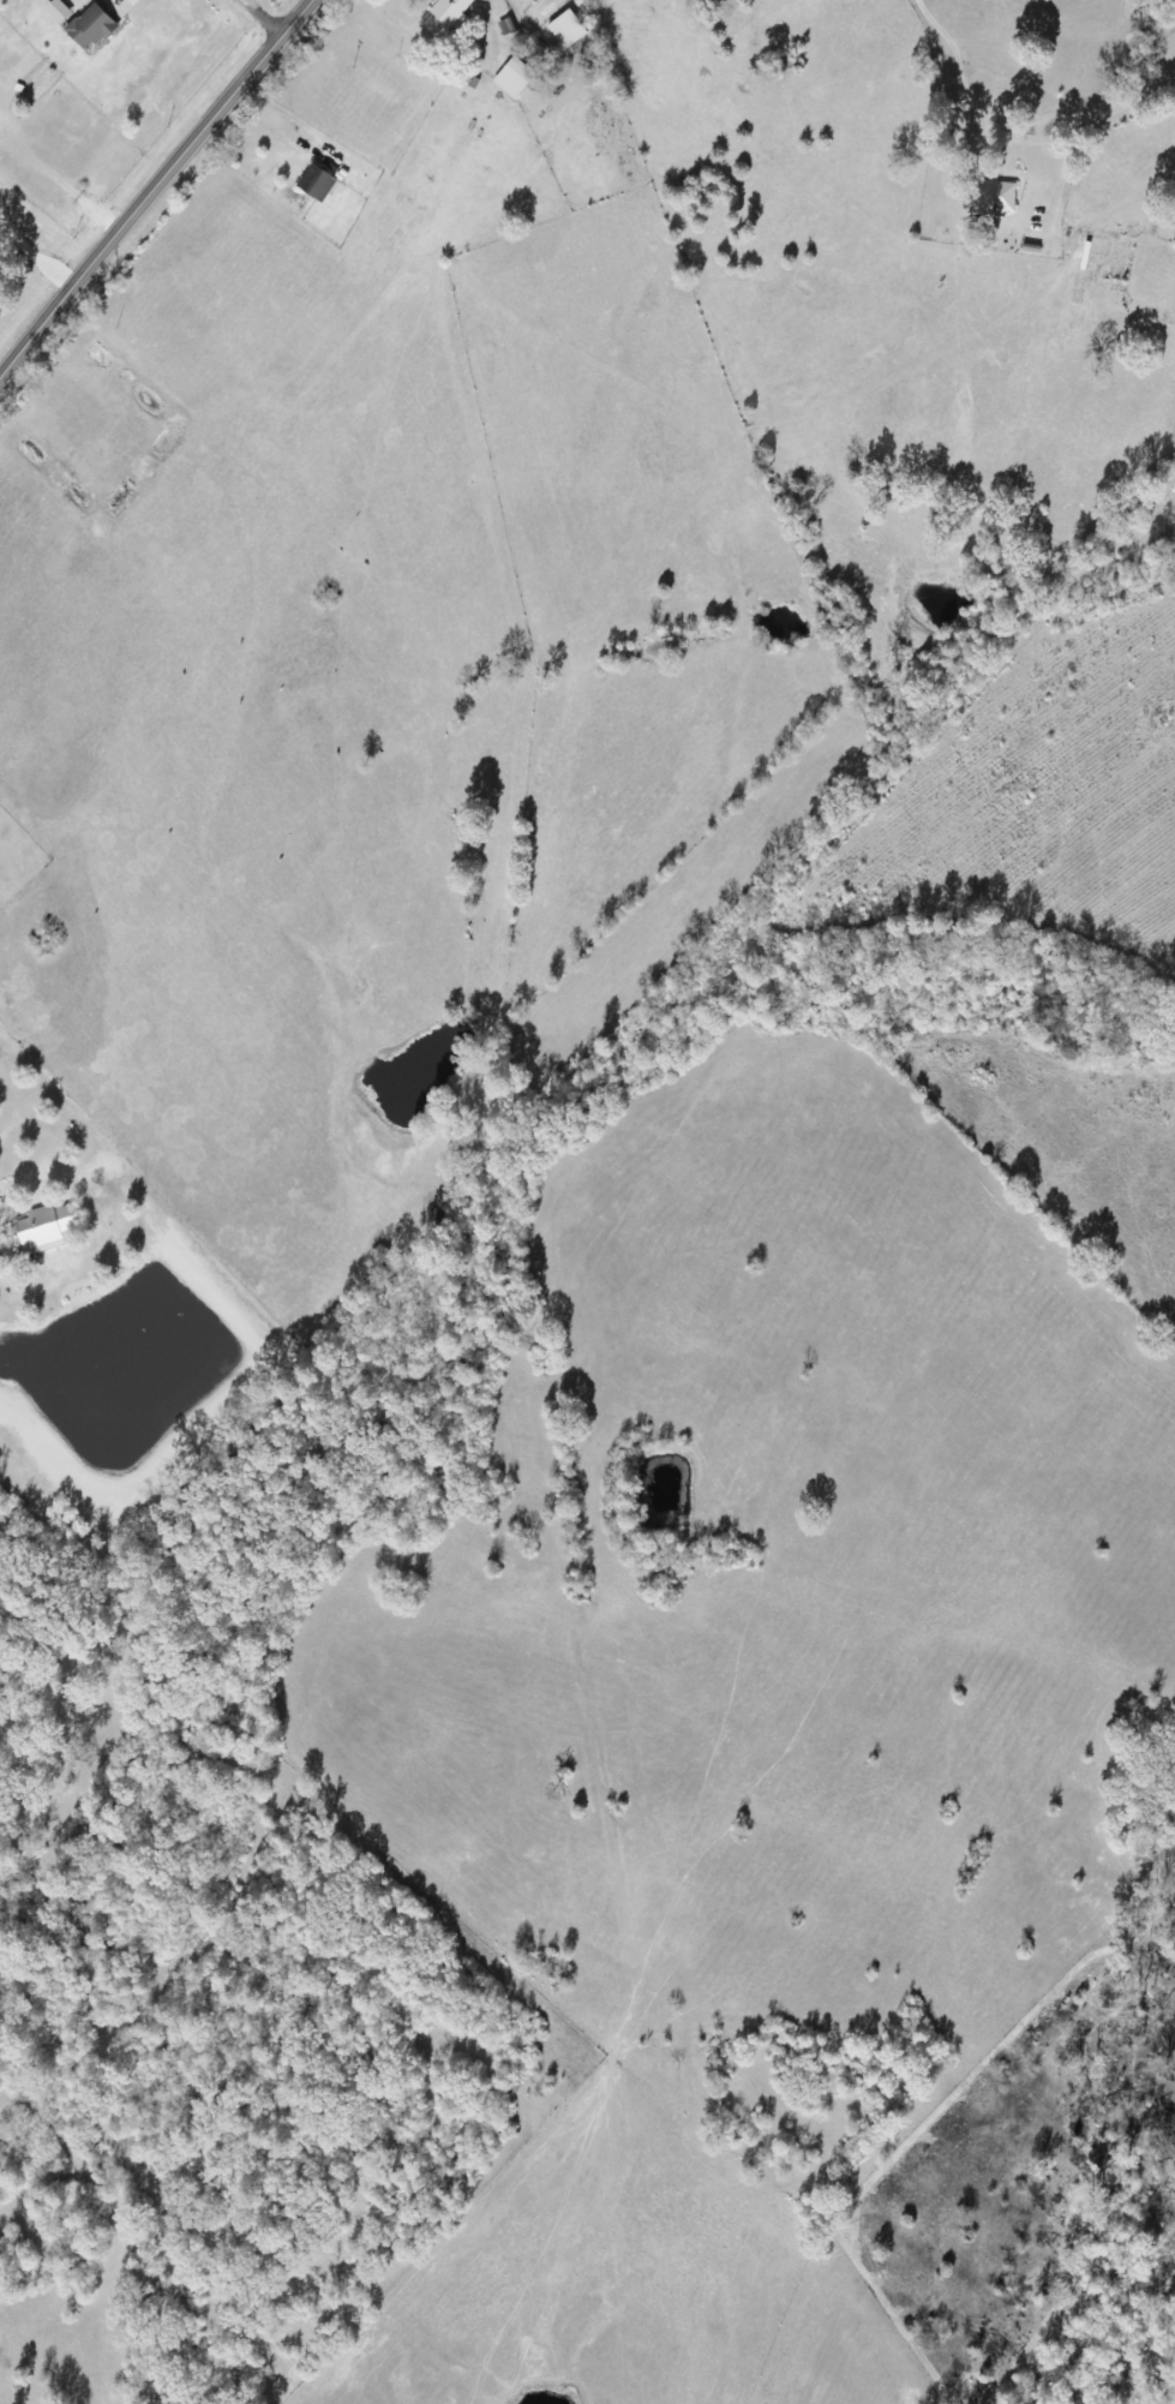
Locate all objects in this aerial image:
building: (58, 13)
building: (448, 14)
building: (90, 29)
building: (506, 29)
building: (566, 31)
road: (1099, 35)
road: (222, 44)
building: (514, 79)
building: (316, 185)
road: (156, 191)
building: (996, 198)
building: (44, 1230)
road: (598, 1242)

